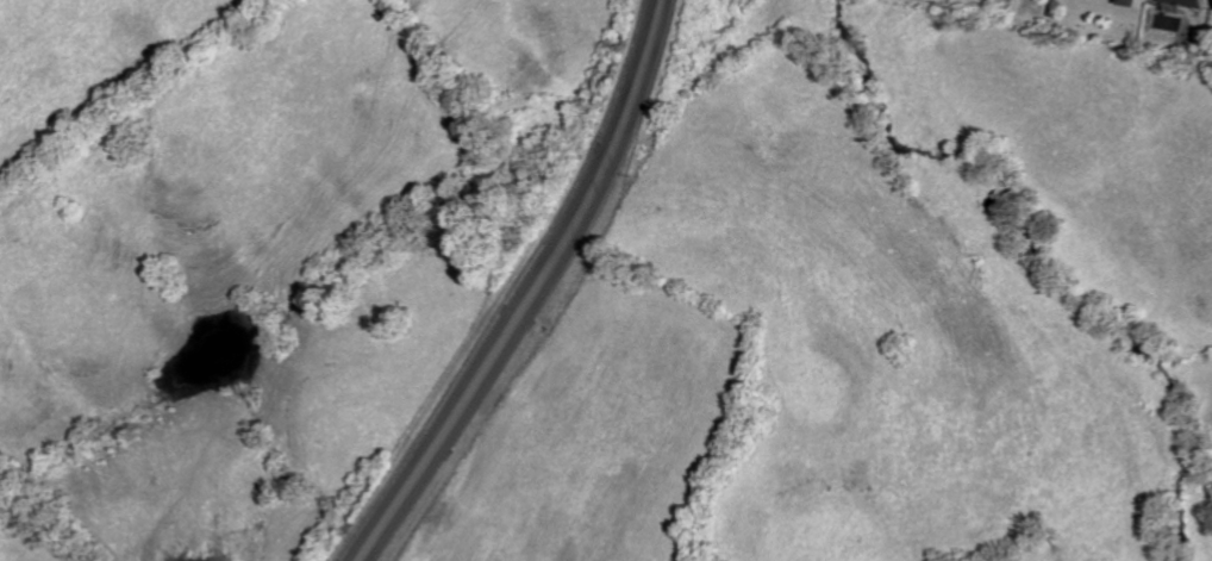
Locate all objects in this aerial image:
building: (1133, 2)
building: (1195, 2)
road: (538, 291)

